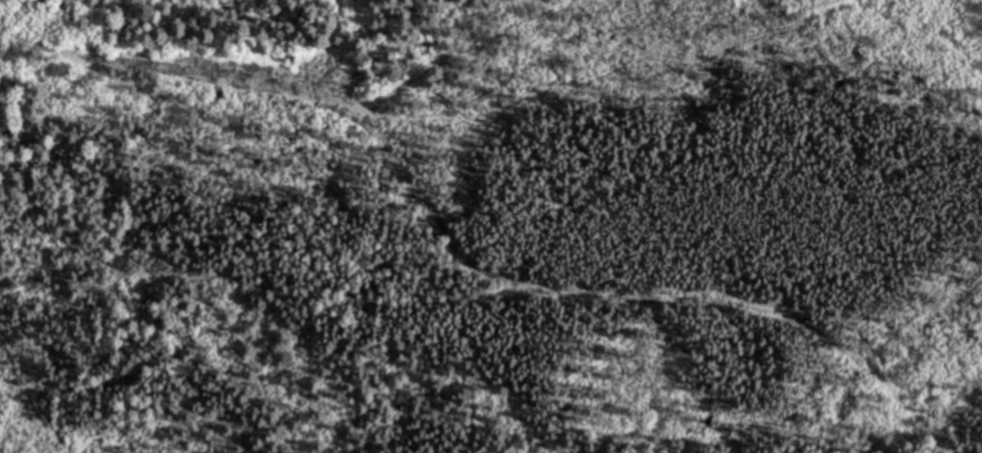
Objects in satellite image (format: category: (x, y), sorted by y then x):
road: (470, 257)

